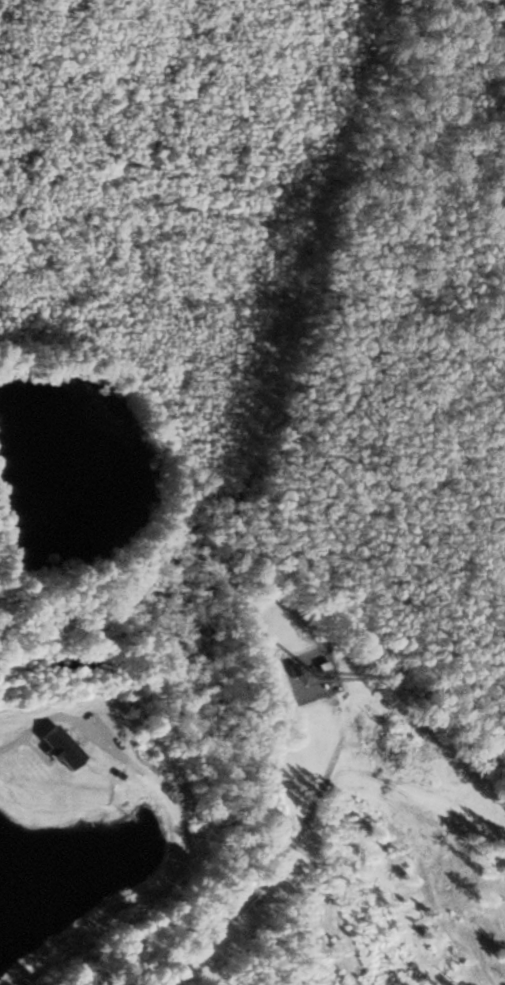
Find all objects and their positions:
building: (320, 666)

